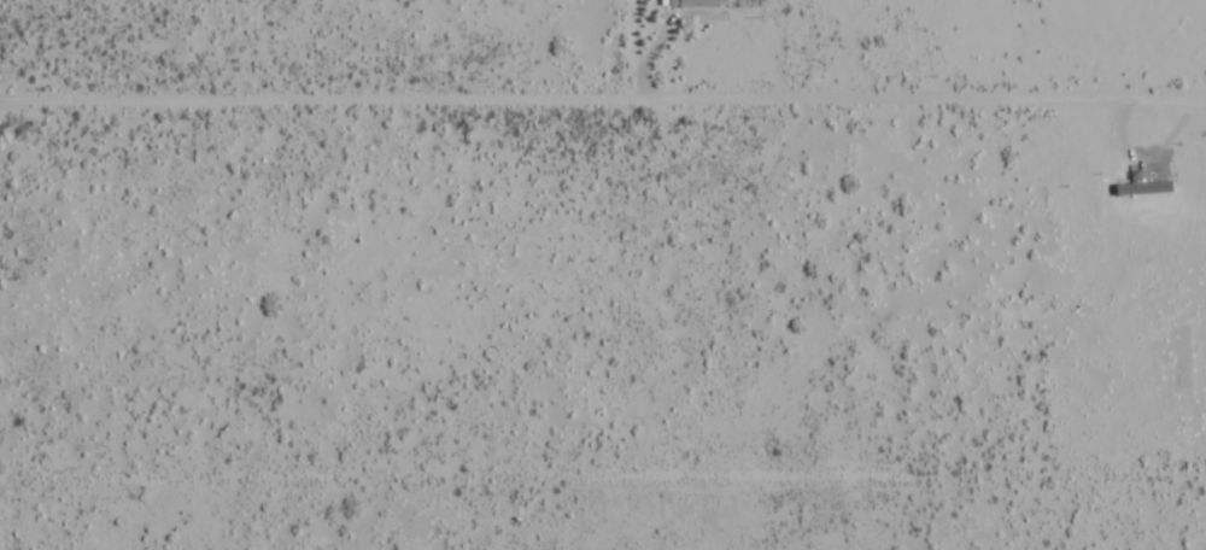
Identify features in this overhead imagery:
building: (696, 2)
road: (603, 92)

